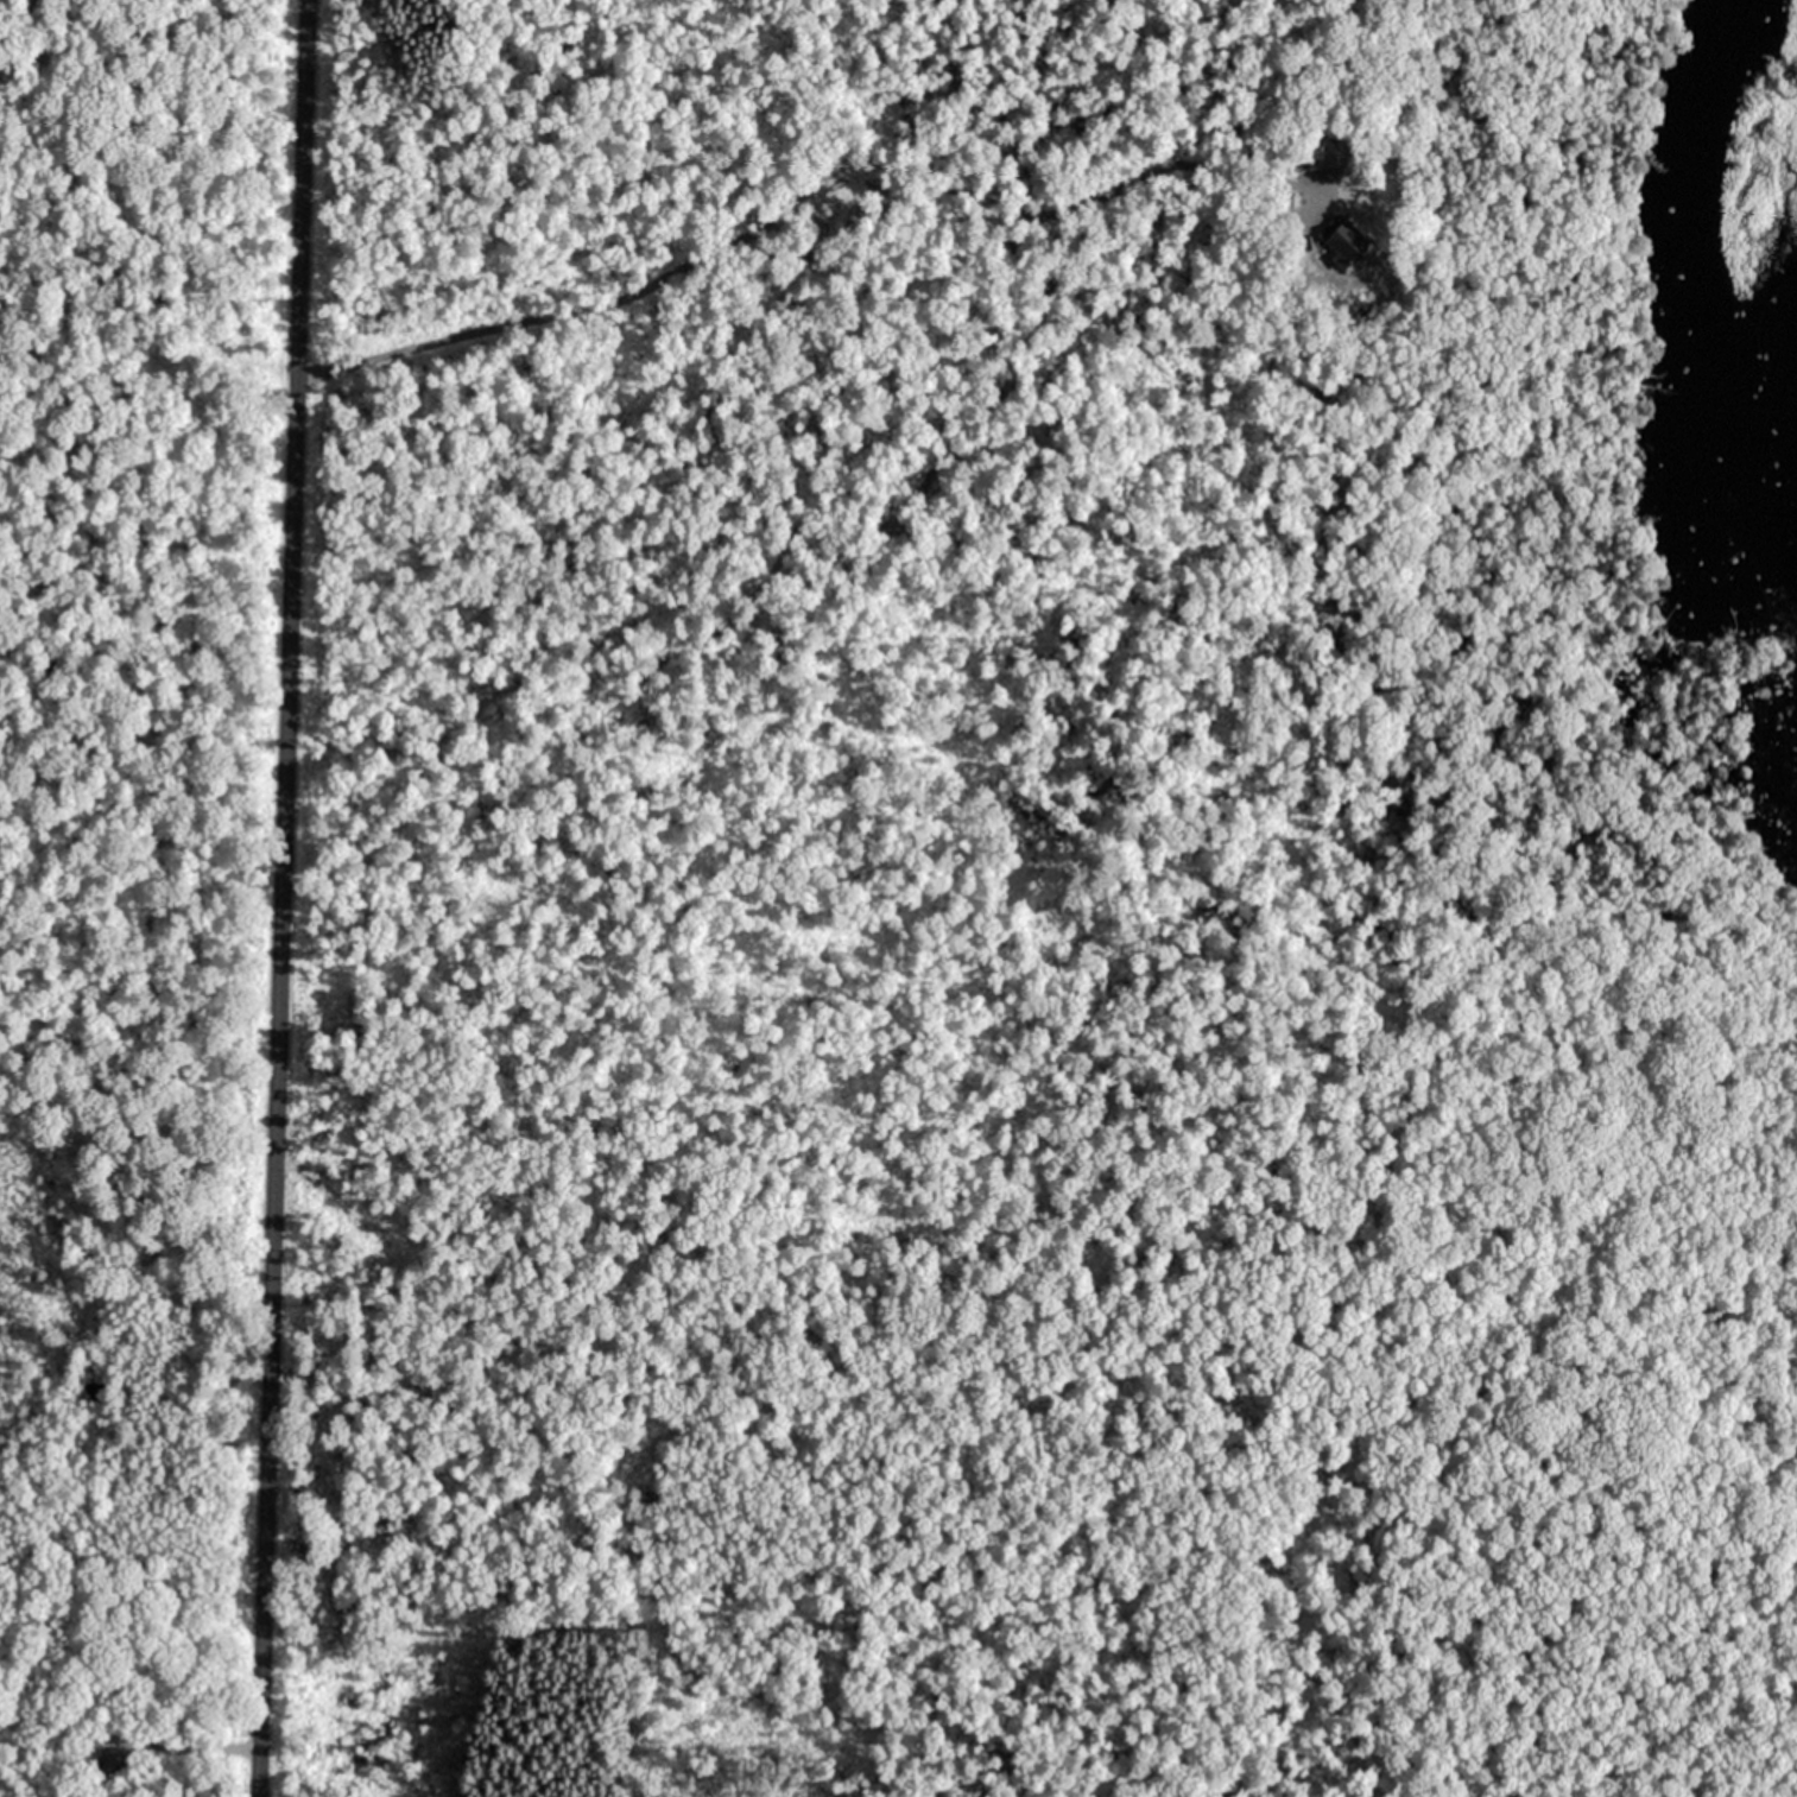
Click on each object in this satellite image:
river: (1698, 306)
road: (280, 898)

